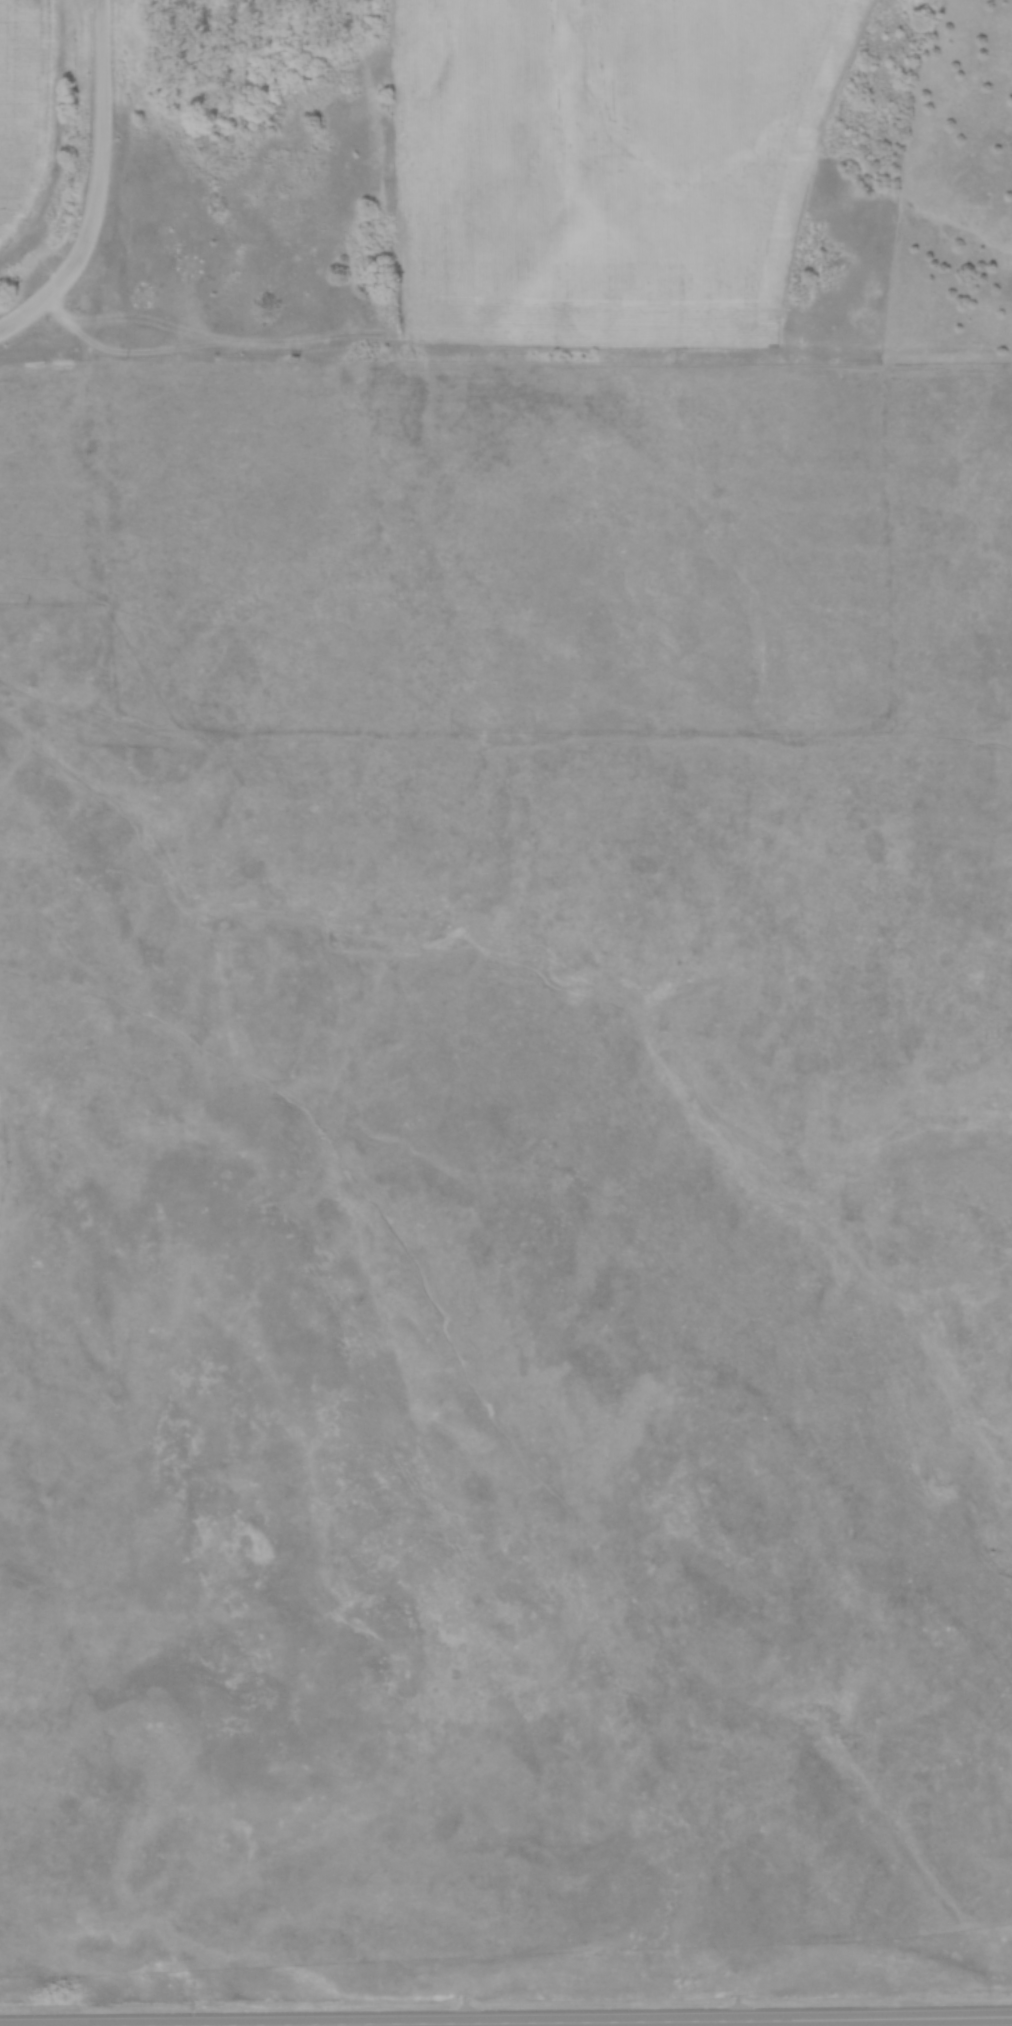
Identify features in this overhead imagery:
road: (98, 153)
road: (26, 316)
road: (705, 2020)

